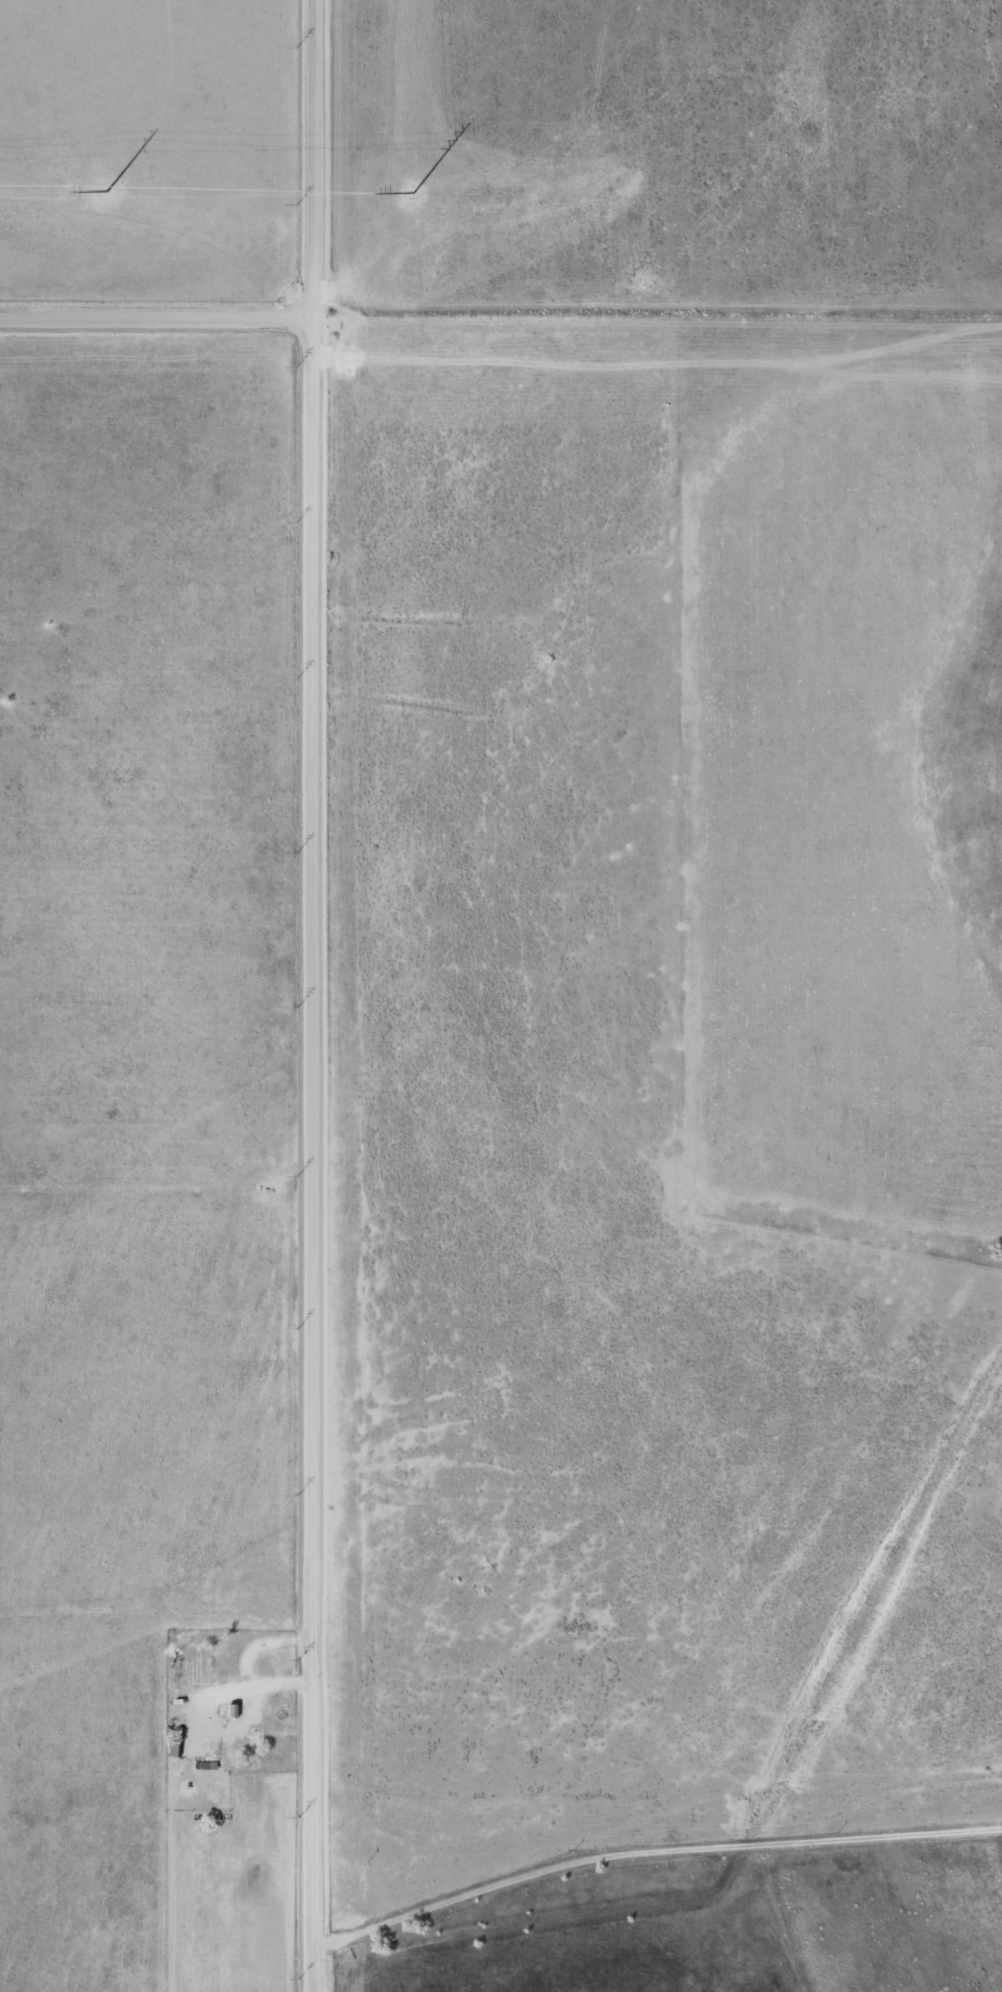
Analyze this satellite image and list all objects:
road: (156, 320)
road: (313, 995)
road: (651, 1861)

